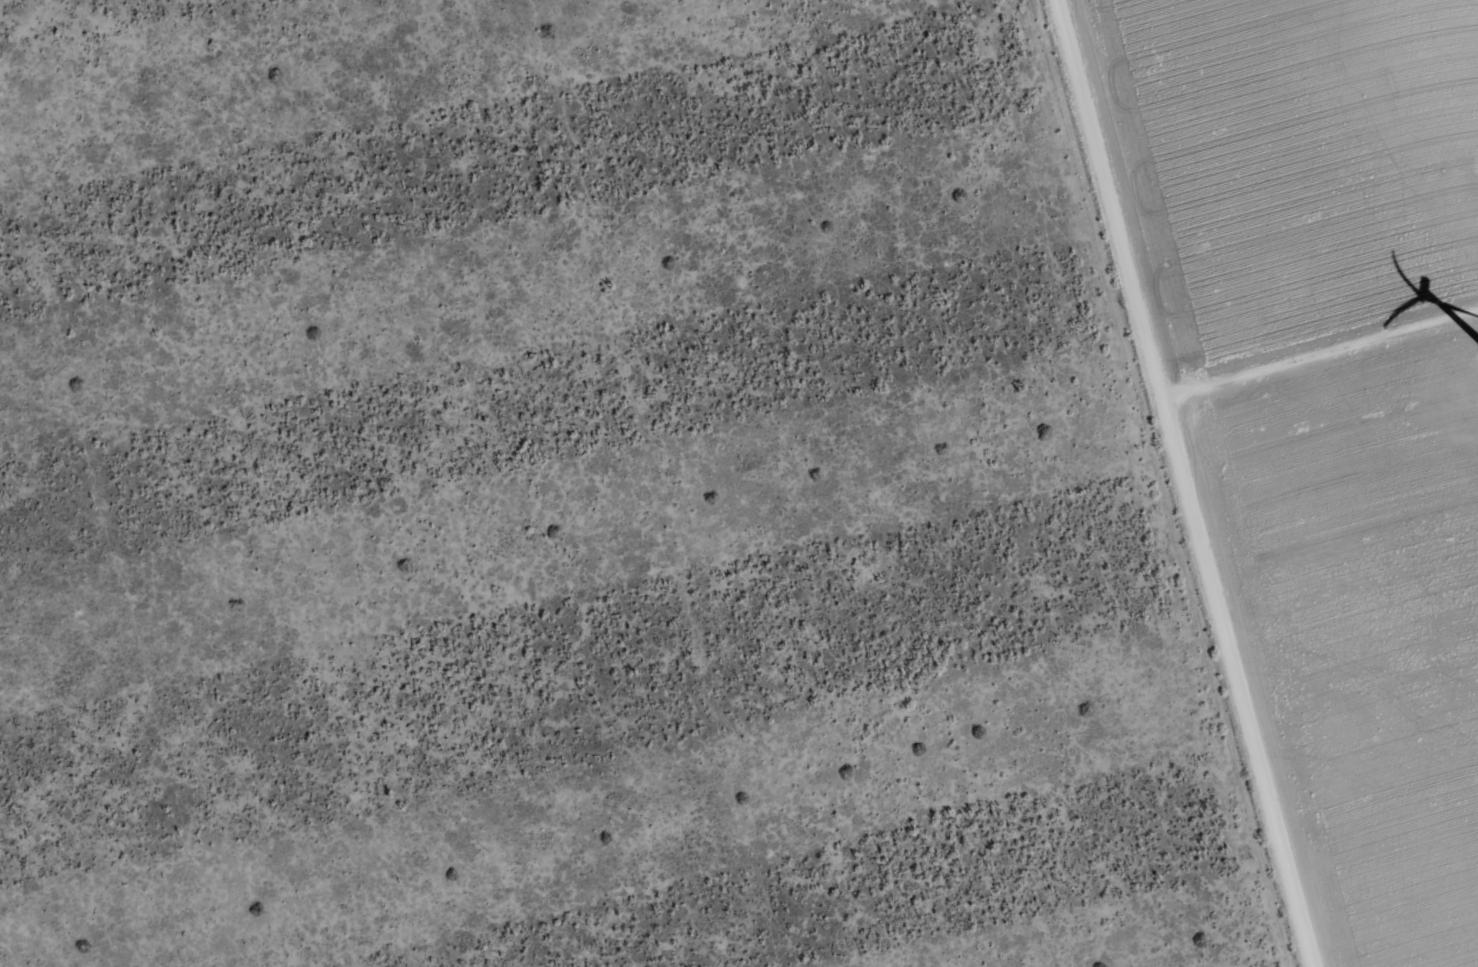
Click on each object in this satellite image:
road: (1177, 483)

